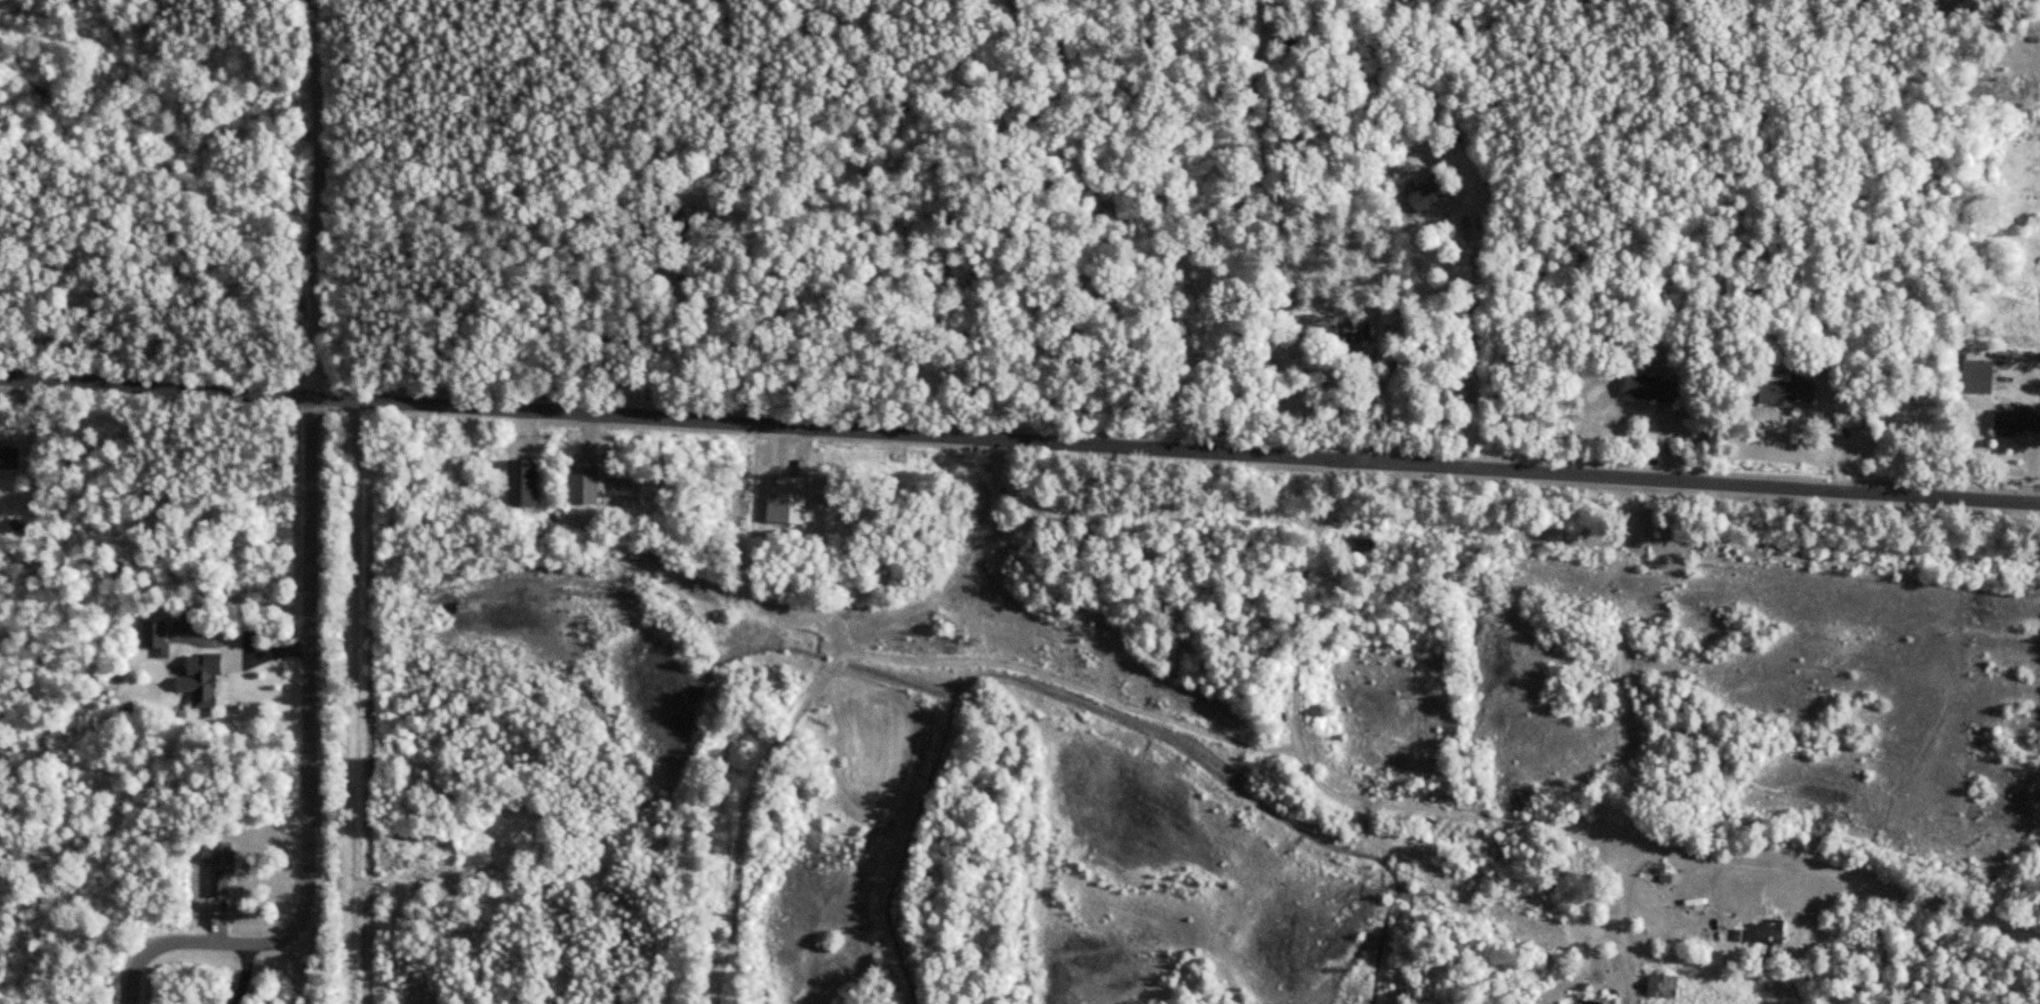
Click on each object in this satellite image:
building: (1432, 193)
road: (319, 200)
building: (697, 226)
road: (905, 295)
building: (1354, 332)
road: (1475, 345)
building: (1375, 346)
building: (1980, 376)
building: (1654, 389)
building: (1789, 390)
building: (2018, 420)
road: (1019, 442)
building: (10, 458)
building: (206, 681)
road: (351, 704)
road: (308, 772)
road: (1509, 820)
building: (223, 870)
road: (1621, 922)
building: (1657, 985)

